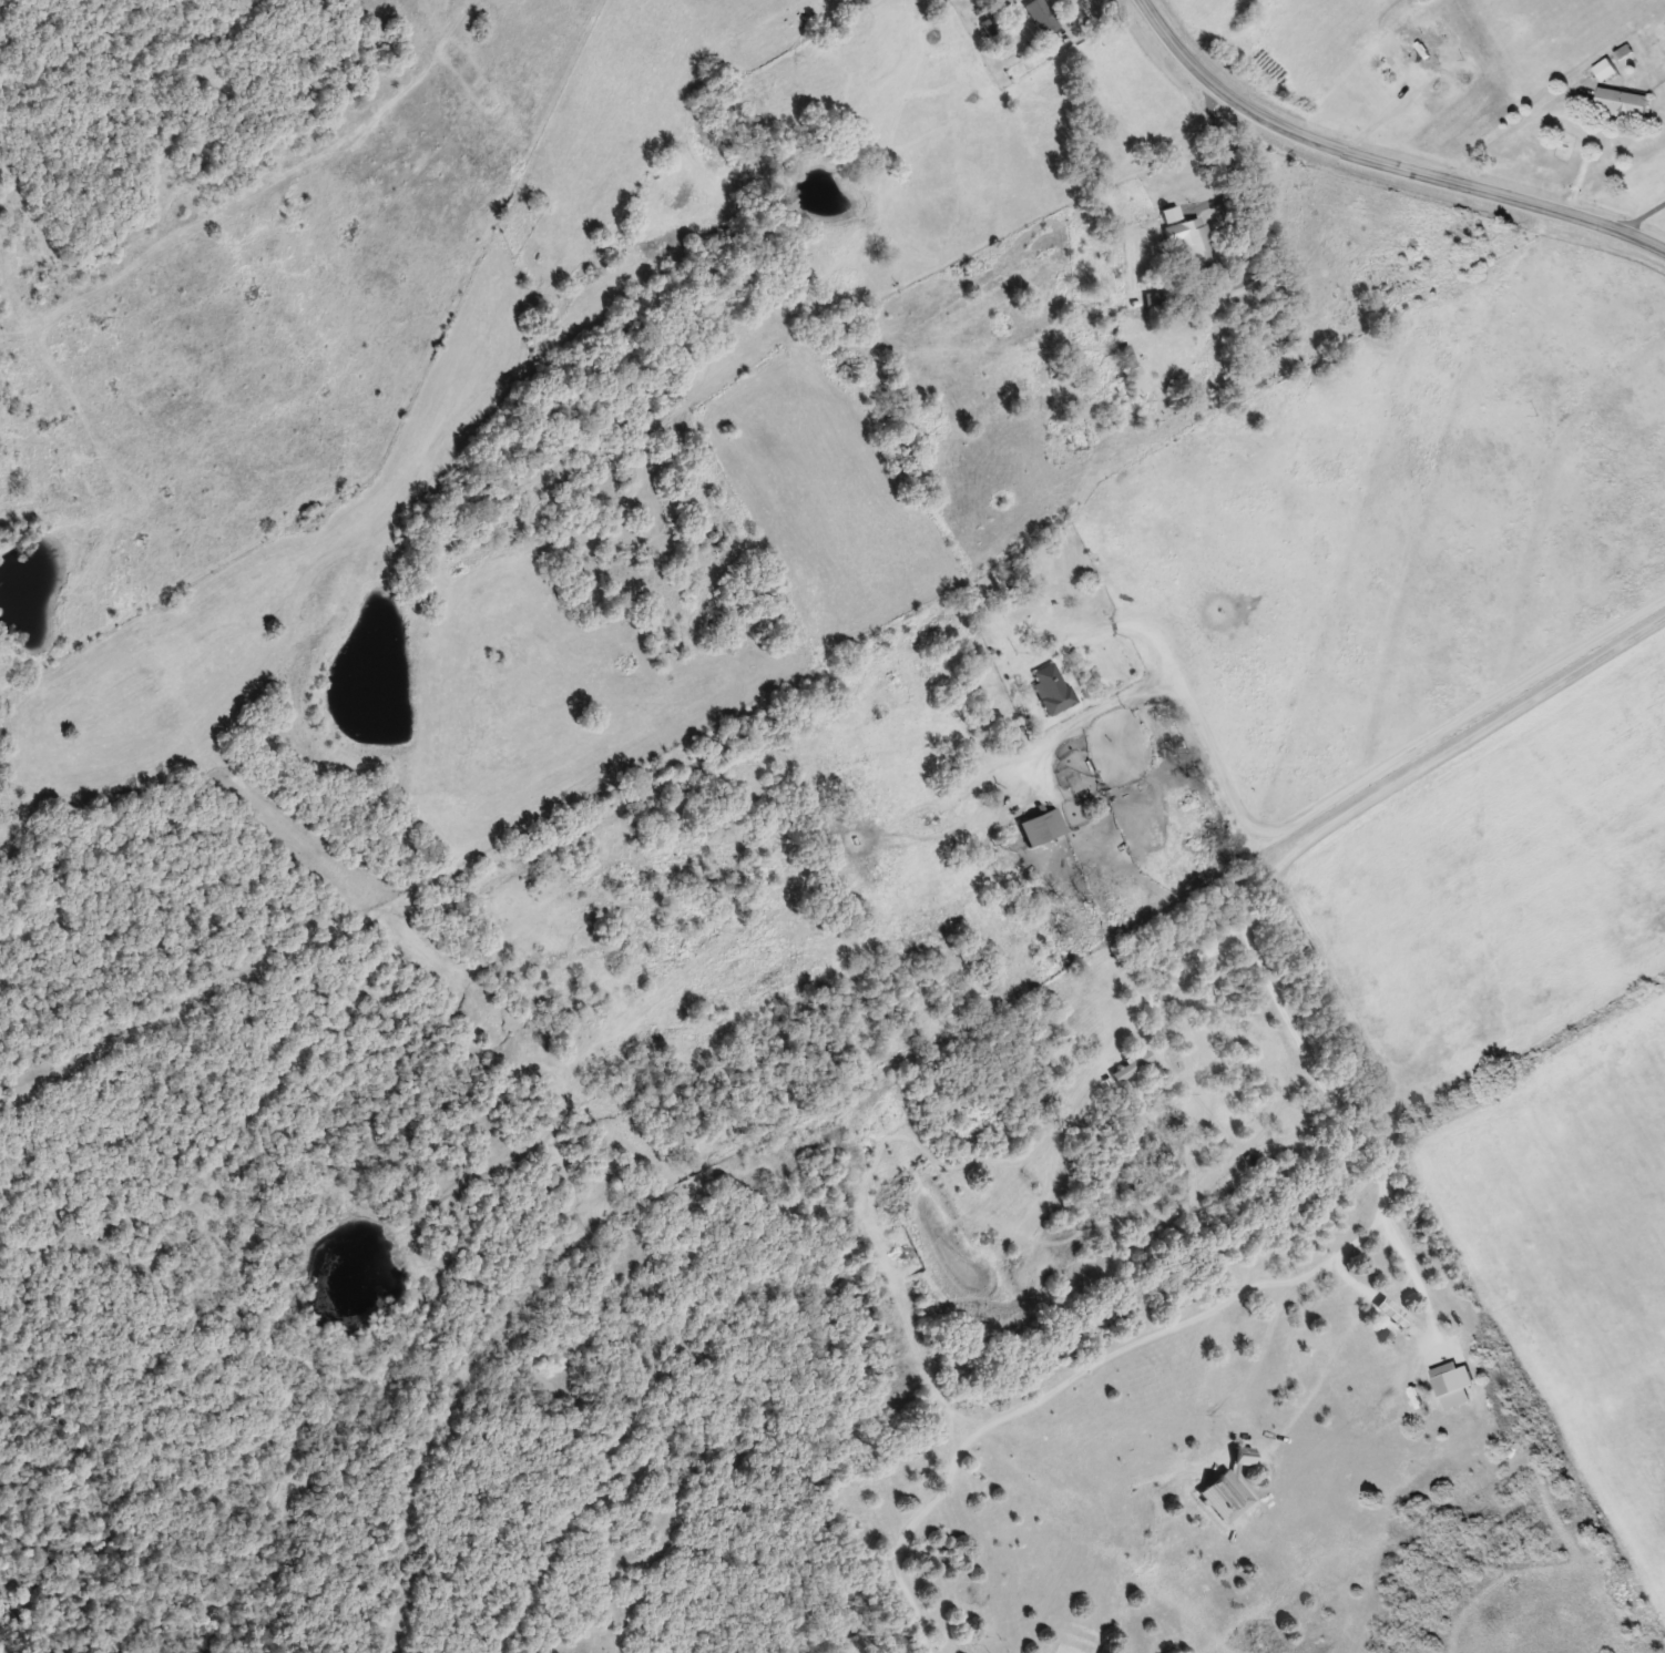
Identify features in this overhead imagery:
building: (1042, 14)
building: (1426, 47)
building: (1606, 68)
building: (1623, 101)
road: (1554, 116)
road: (1378, 163)
building: (1171, 213)
road: (1644, 218)
building: (1189, 233)
building: (1051, 686)
building: (1041, 825)
building: (1132, 1064)
road: (1344, 1108)
road: (1382, 1193)
building: (1400, 1312)

